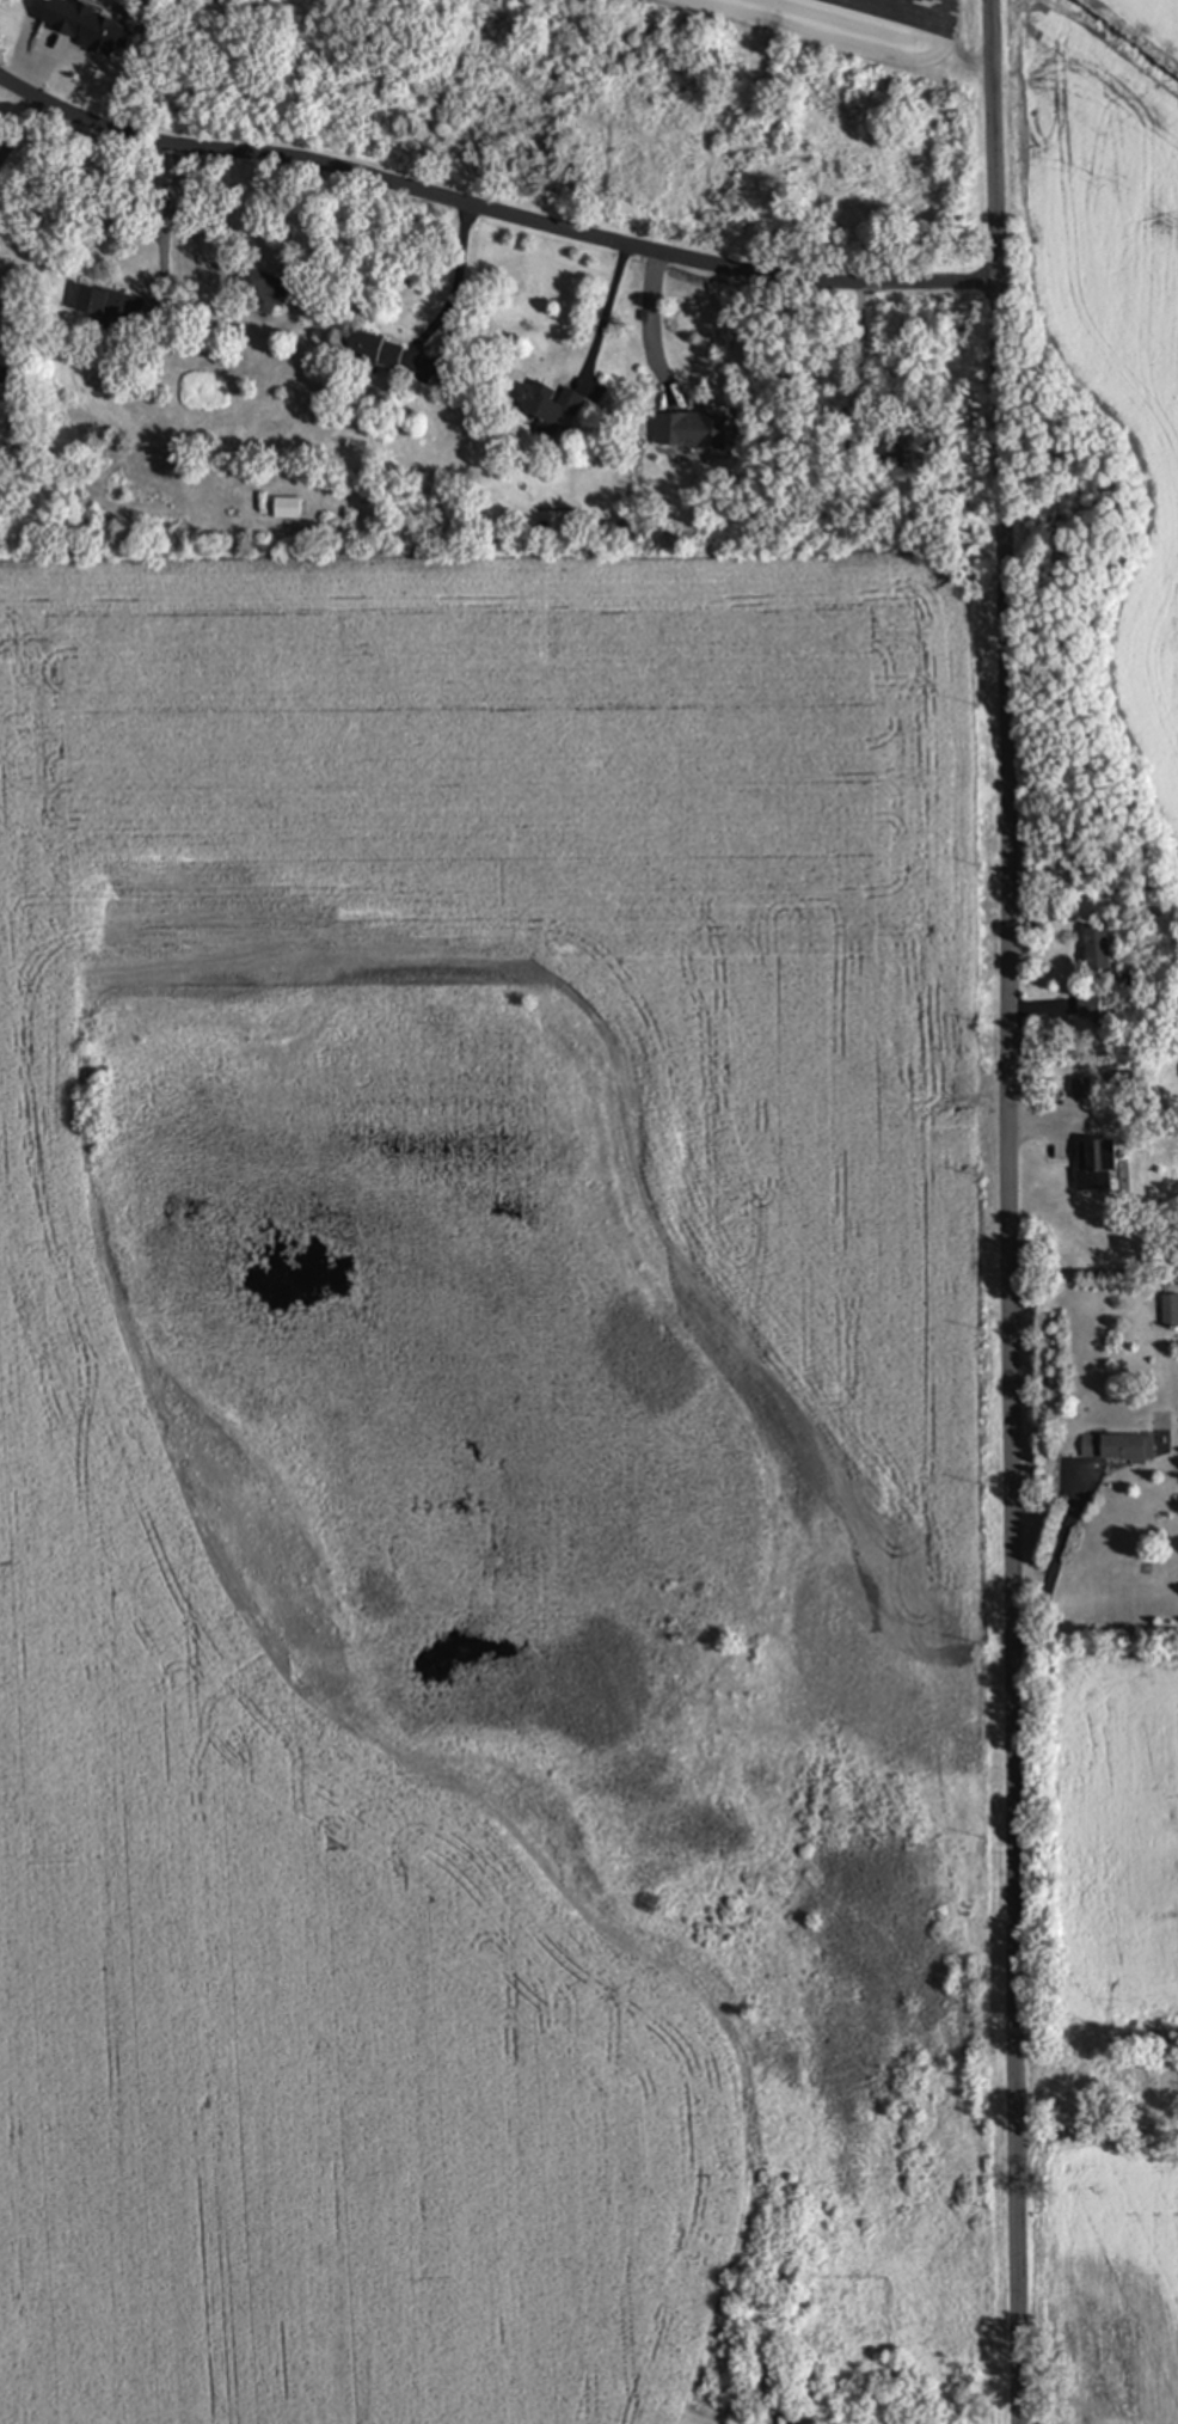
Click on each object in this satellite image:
road: (20, 124)
road: (191, 209)
road: (495, 210)
road: (161, 221)
road: (454, 287)
building: (263, 293)
building: (110, 307)
road: (607, 314)
road: (657, 328)
building: (373, 354)
building: (5, 375)
building: (551, 410)
building: (692, 431)
building: (288, 510)
building: (1098, 950)
building: (1090, 1008)
building: (1080, 1089)
building: (1096, 1167)
road: (1013, 1211)
building: (1170, 1311)
building: (1118, 1447)
road: (1097, 2131)
building: (771, 2371)

